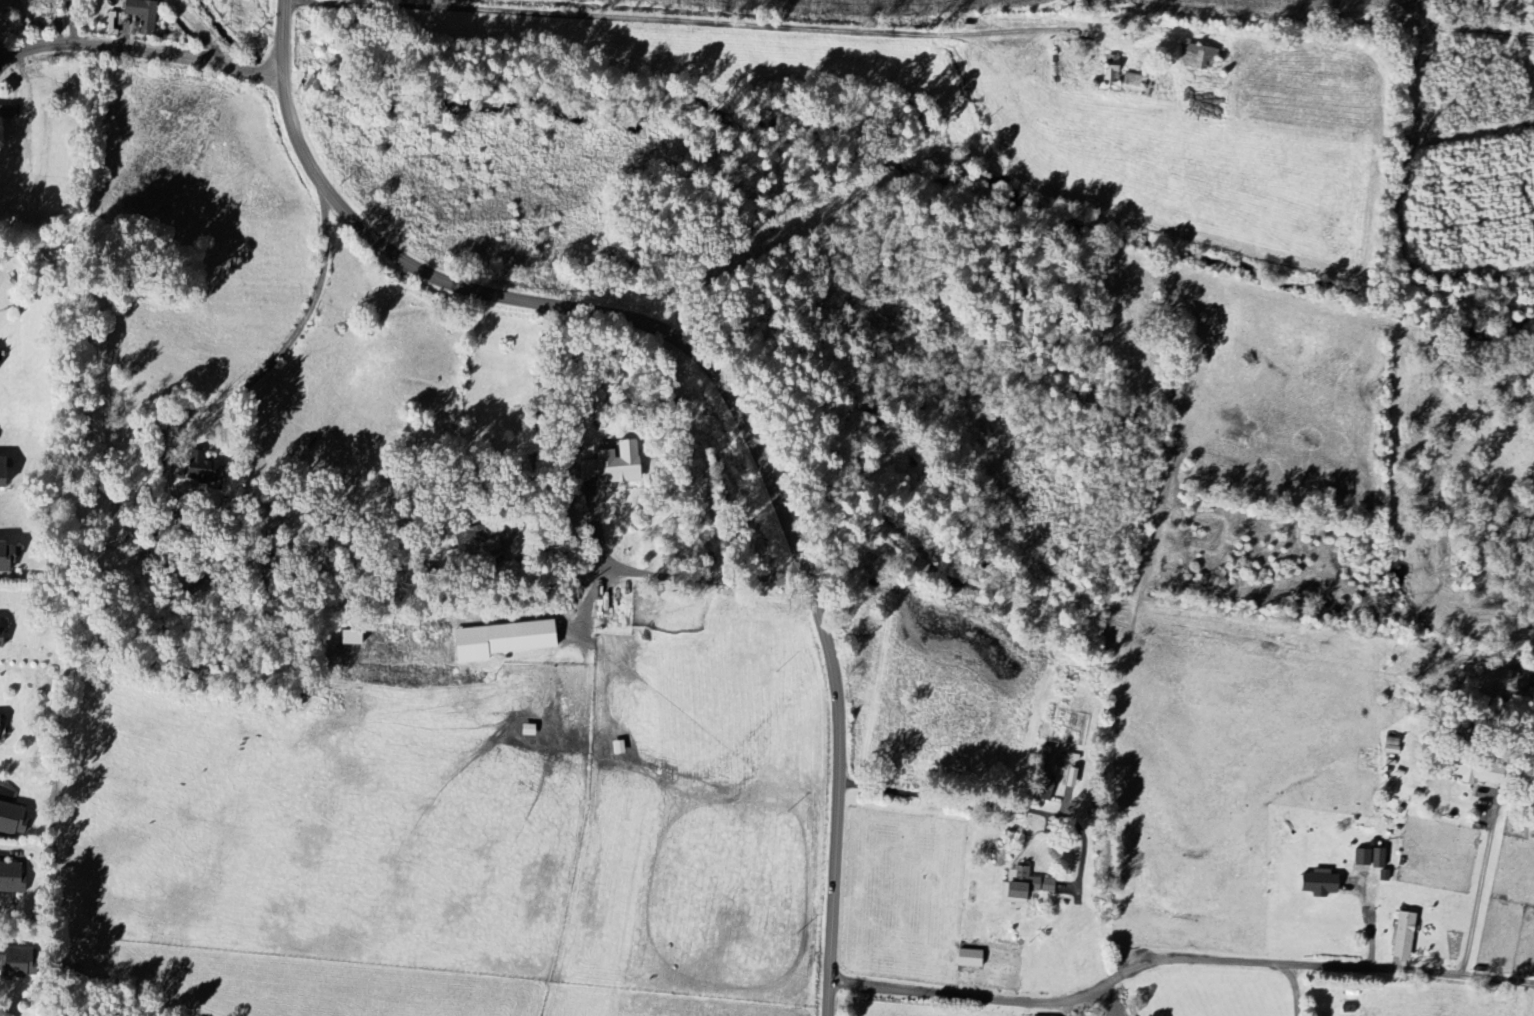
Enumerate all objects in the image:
building: (144, 14)
road: (139, 50)
building: (1196, 57)
road: (285, 348)
building: (1, 363)
road: (718, 385)
road: (533, 437)
building: (624, 468)
building: (208, 470)
building: (6, 472)
building: (497, 546)
building: (8, 556)
road: (665, 576)
building: (2, 632)
building: (506, 639)
building: (1, 728)
building: (1042, 789)
road: (996, 803)
building: (14, 818)
road: (0, 851)
building: (1367, 857)
building: (13, 877)
road: (1482, 878)
building: (1316, 883)
building: (1021, 884)
road: (1369, 918)
building: (1400, 934)
building: (966, 957)
building: (21, 963)
road: (1140, 964)
road: (1496, 978)
road: (1296, 988)
road: (1111, 999)

